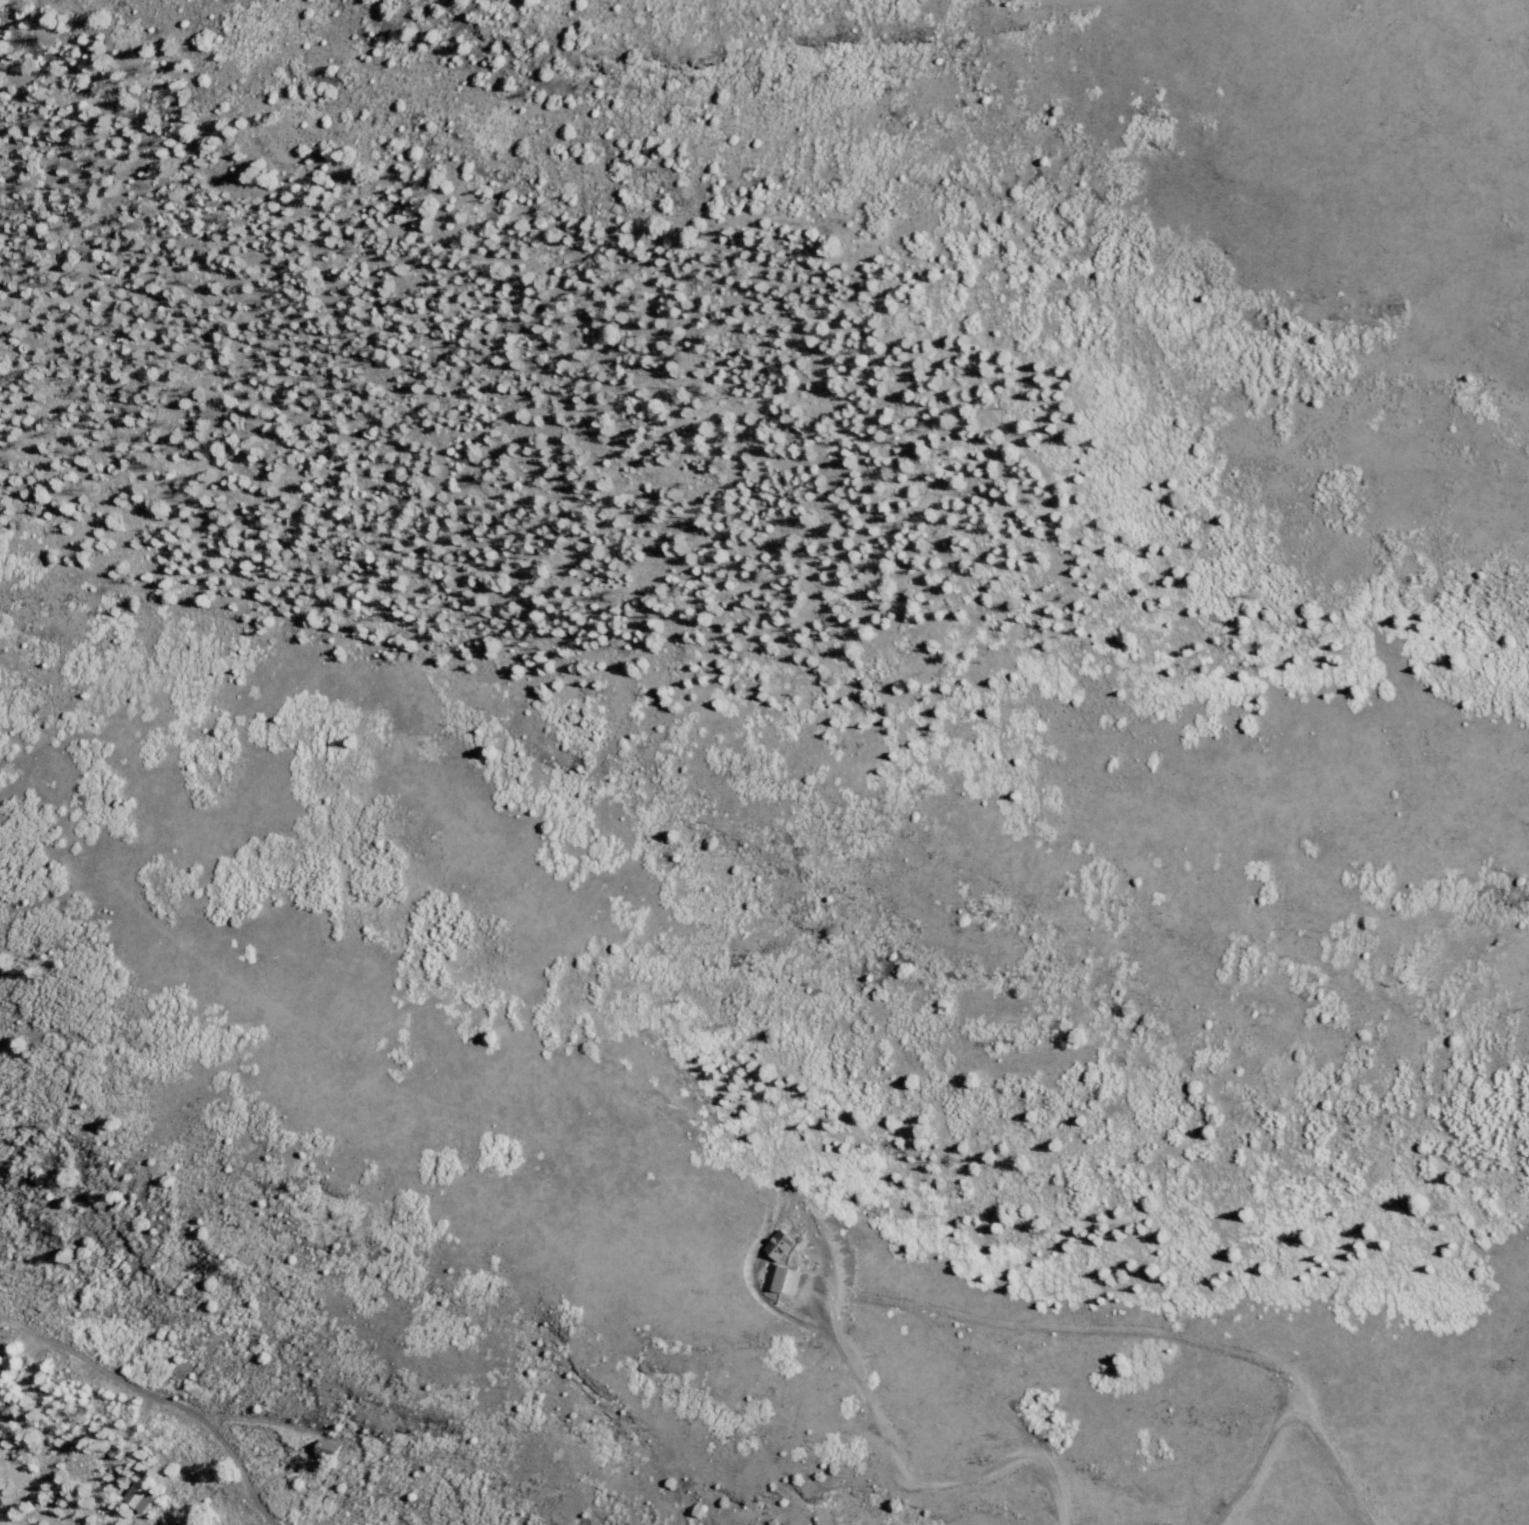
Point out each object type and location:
building: (782, 1244)
building: (782, 1278)
road: (185, 1428)
building: (330, 1448)
building: (140, 1495)

